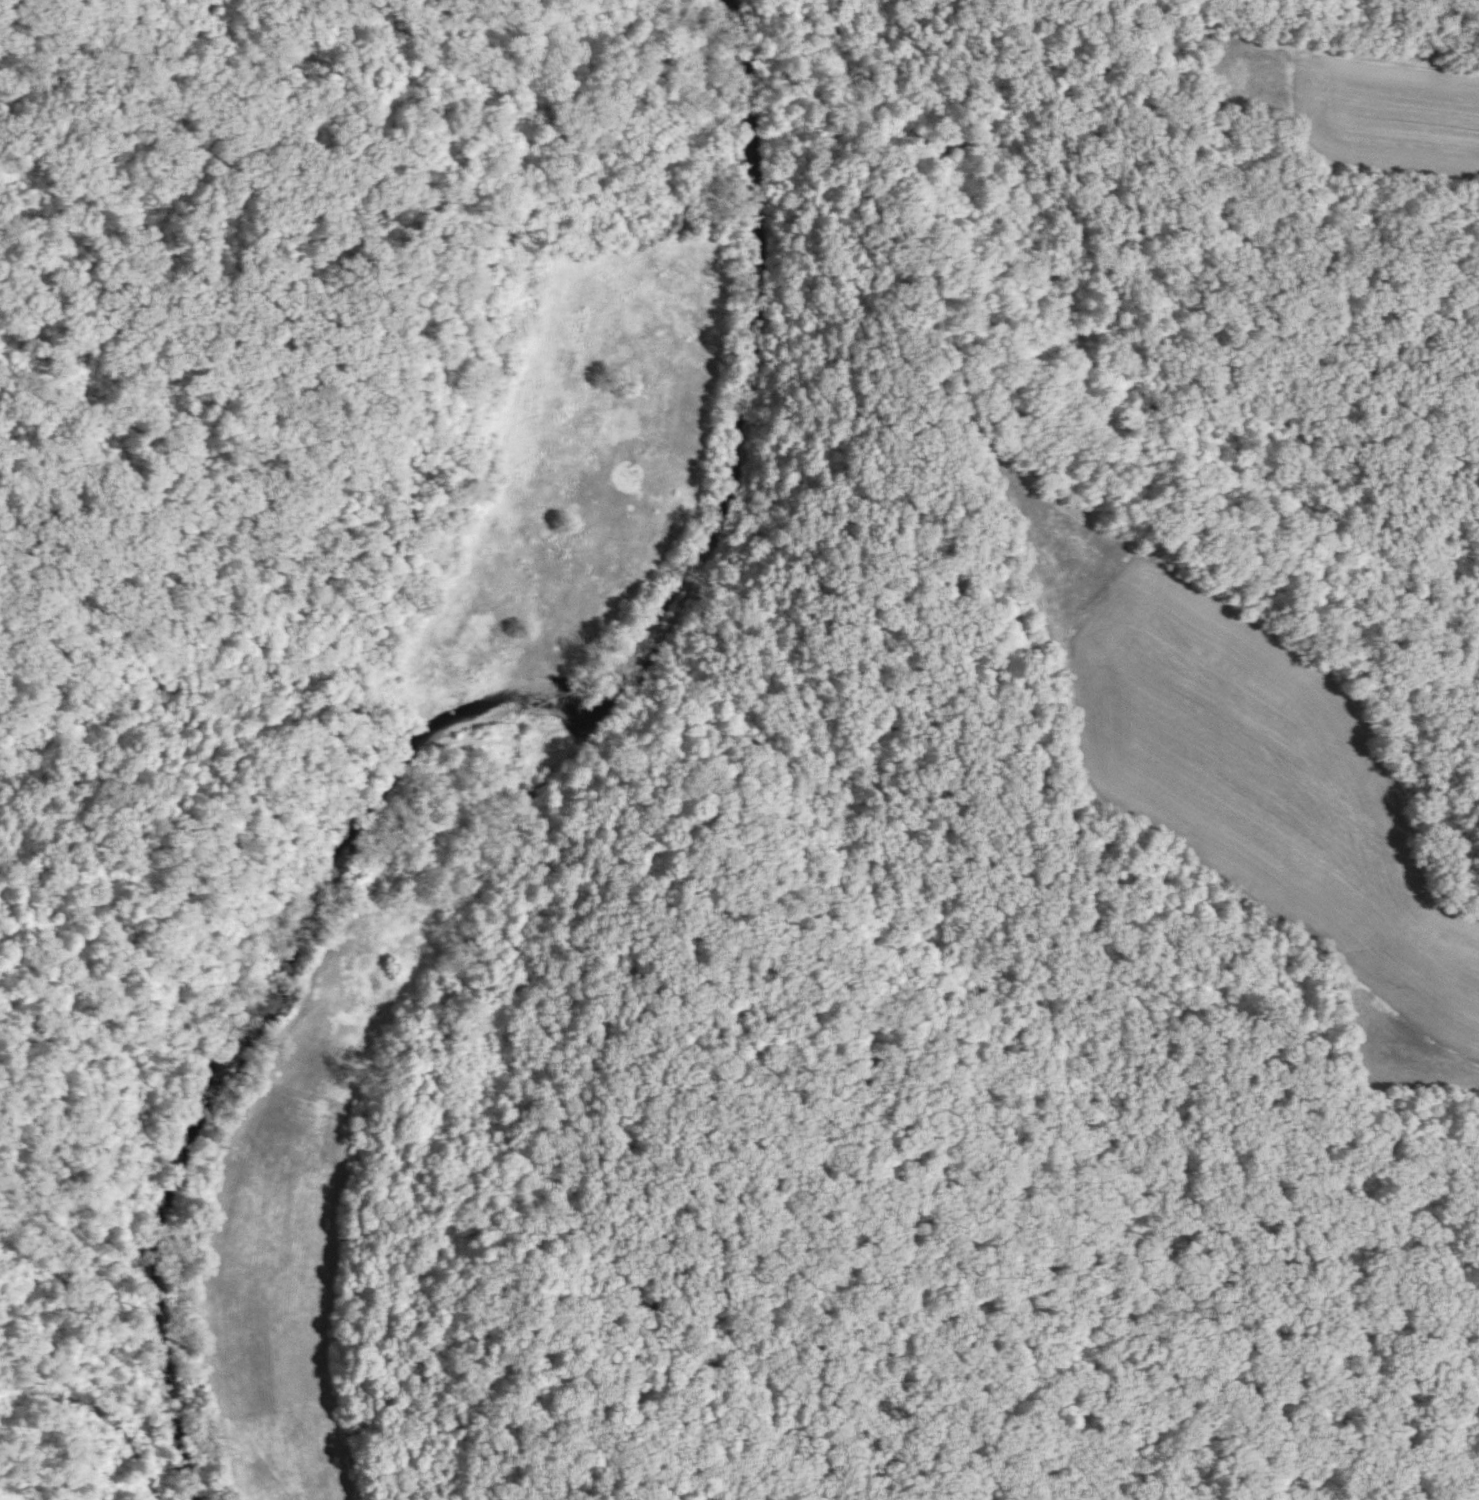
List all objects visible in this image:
river: (497, 747)

